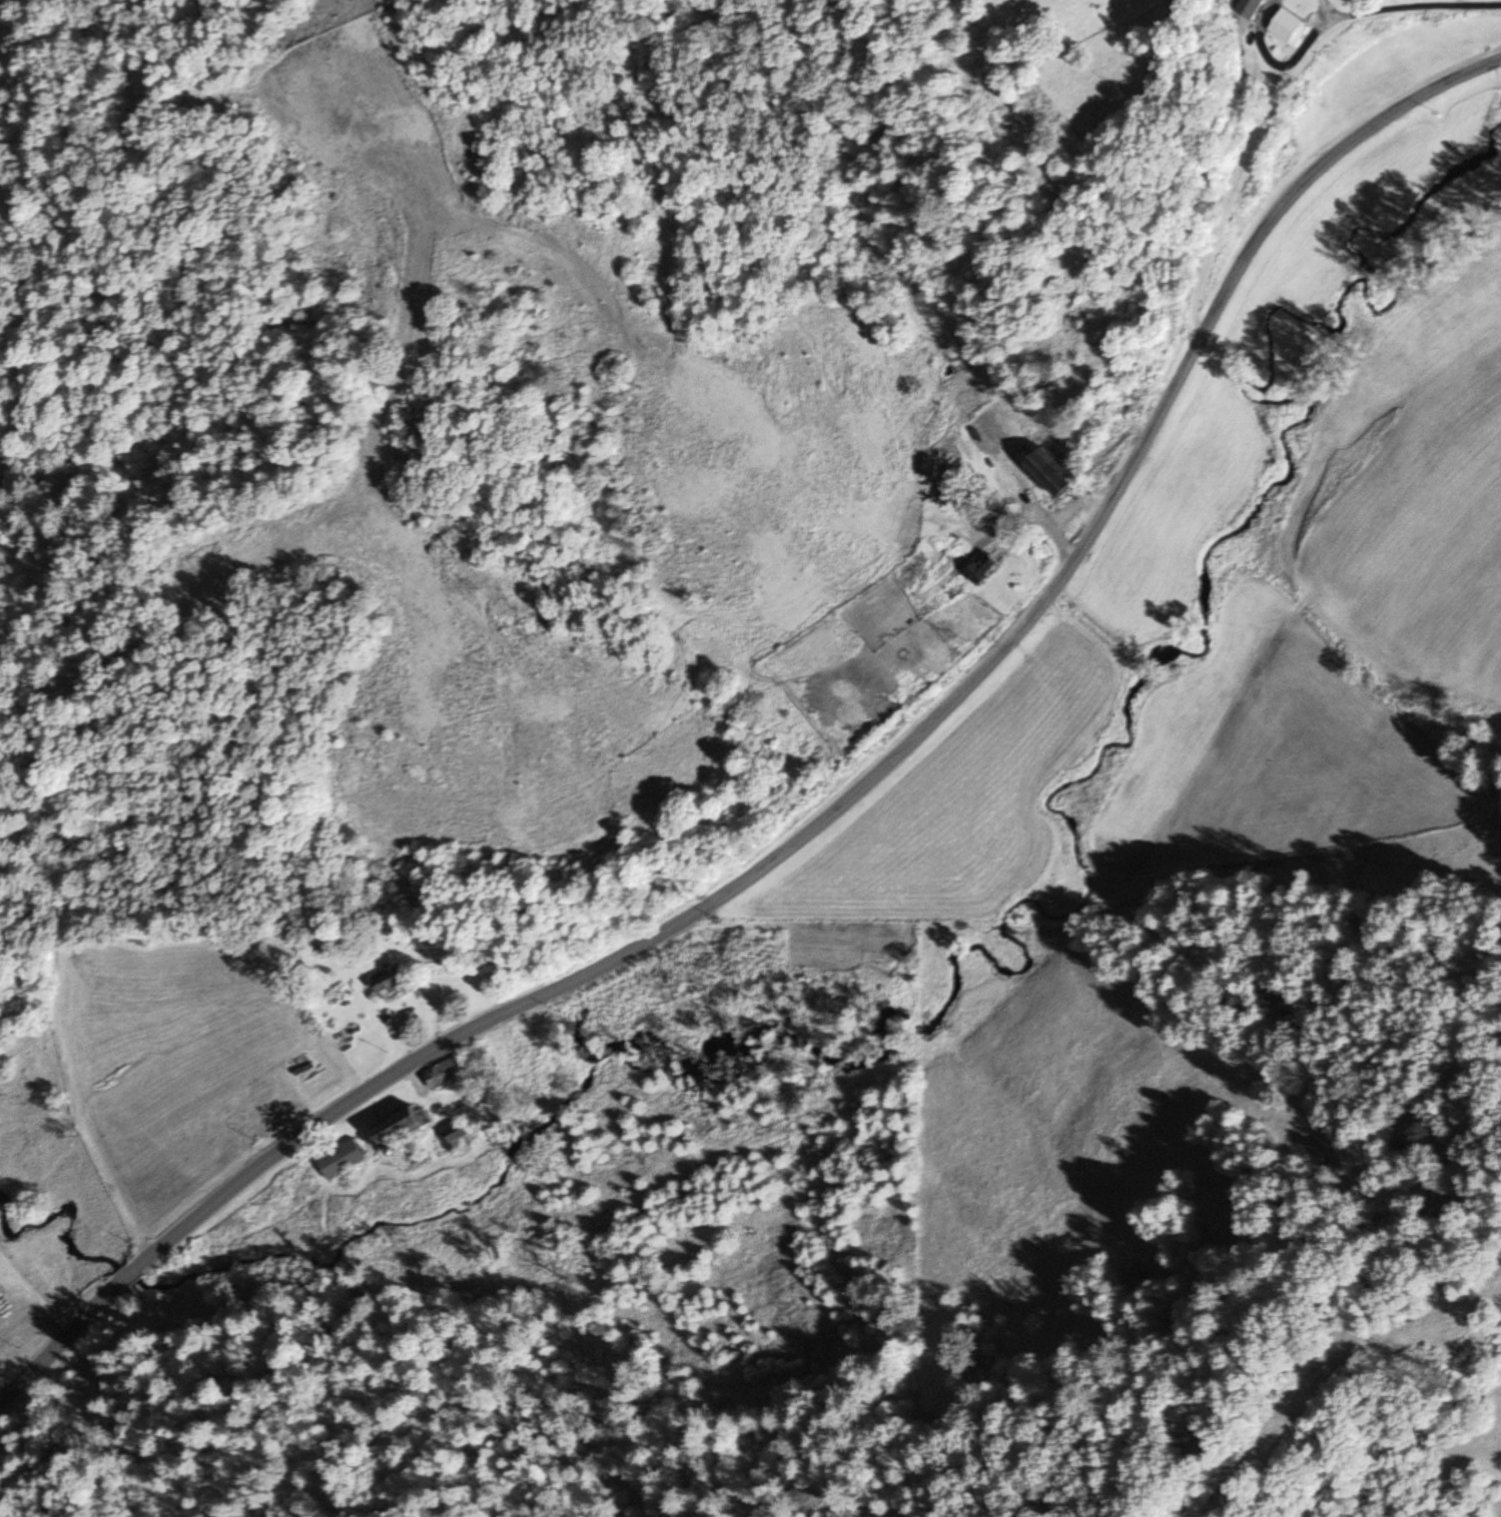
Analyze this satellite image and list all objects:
building: (1253, 8)
building: (1295, 27)
road: (1249, 139)
building: (1056, 473)
road: (1103, 509)
building: (989, 568)
building: (943, 600)
building: (394, 982)
building: (449, 1071)
building: (406, 1127)
building: (458, 1135)
road: (307, 1139)
building: (344, 1160)

